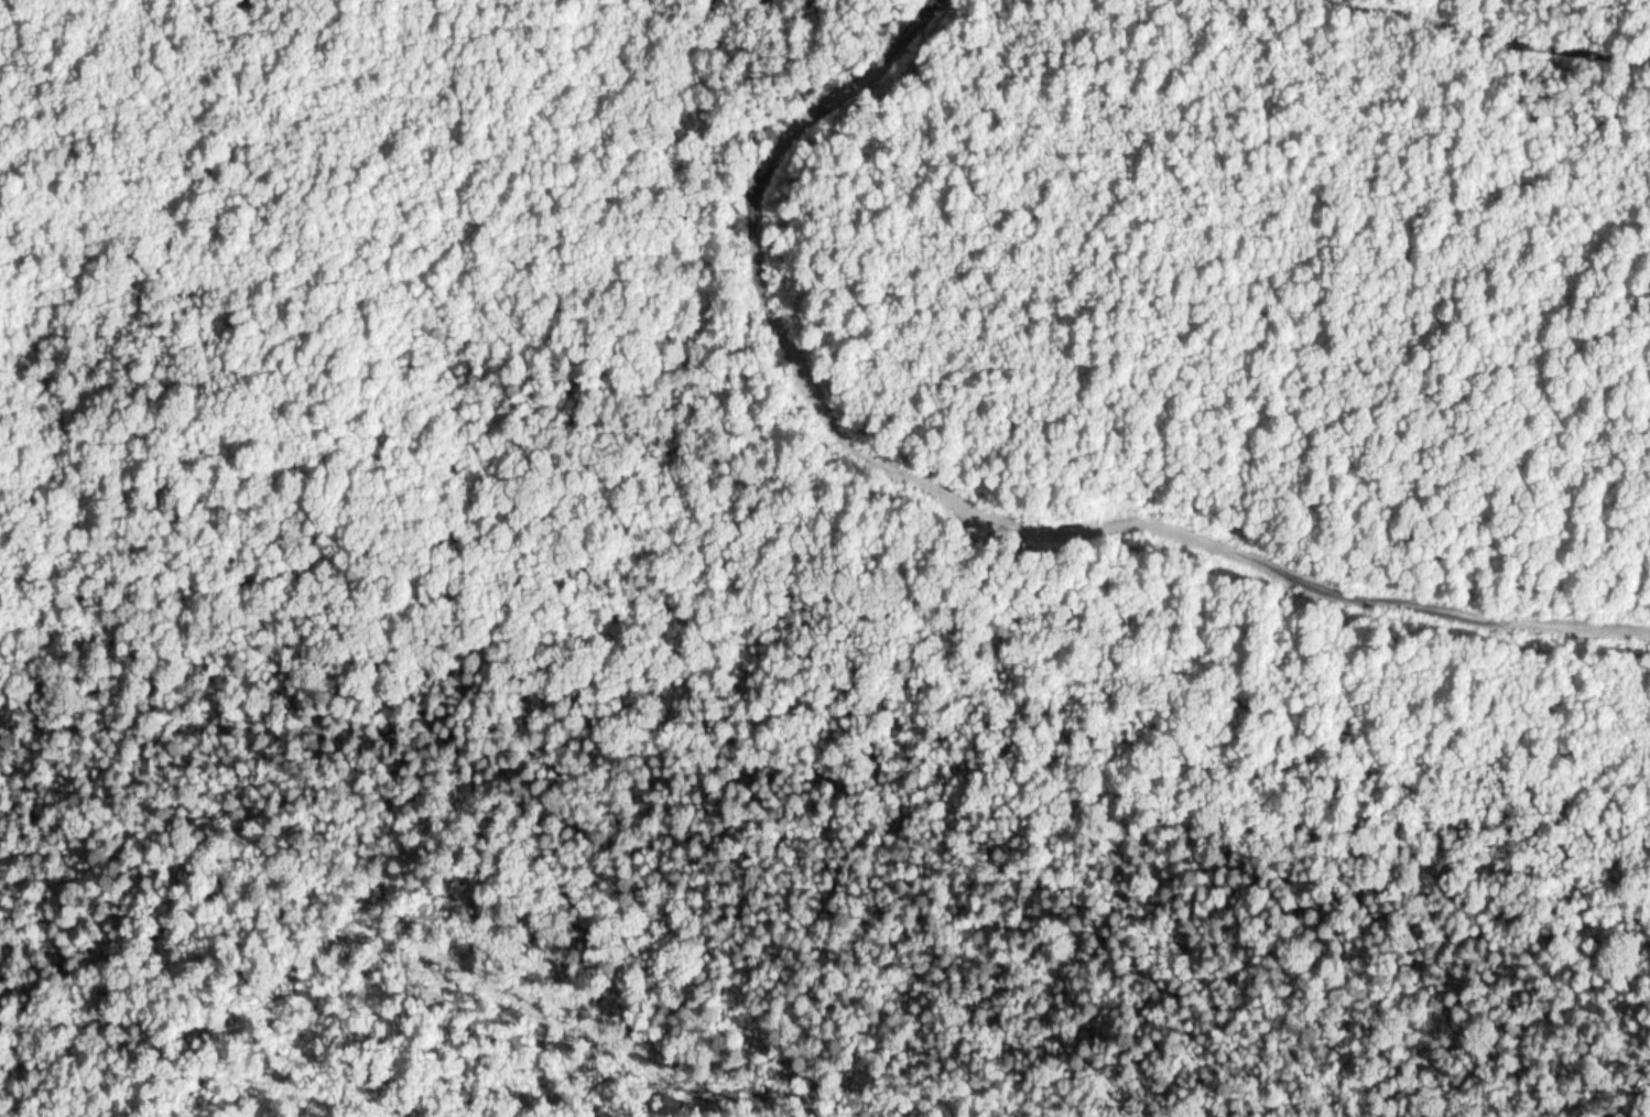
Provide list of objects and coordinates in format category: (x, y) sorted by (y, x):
road: (1510, 33)
road: (1544, 623)

